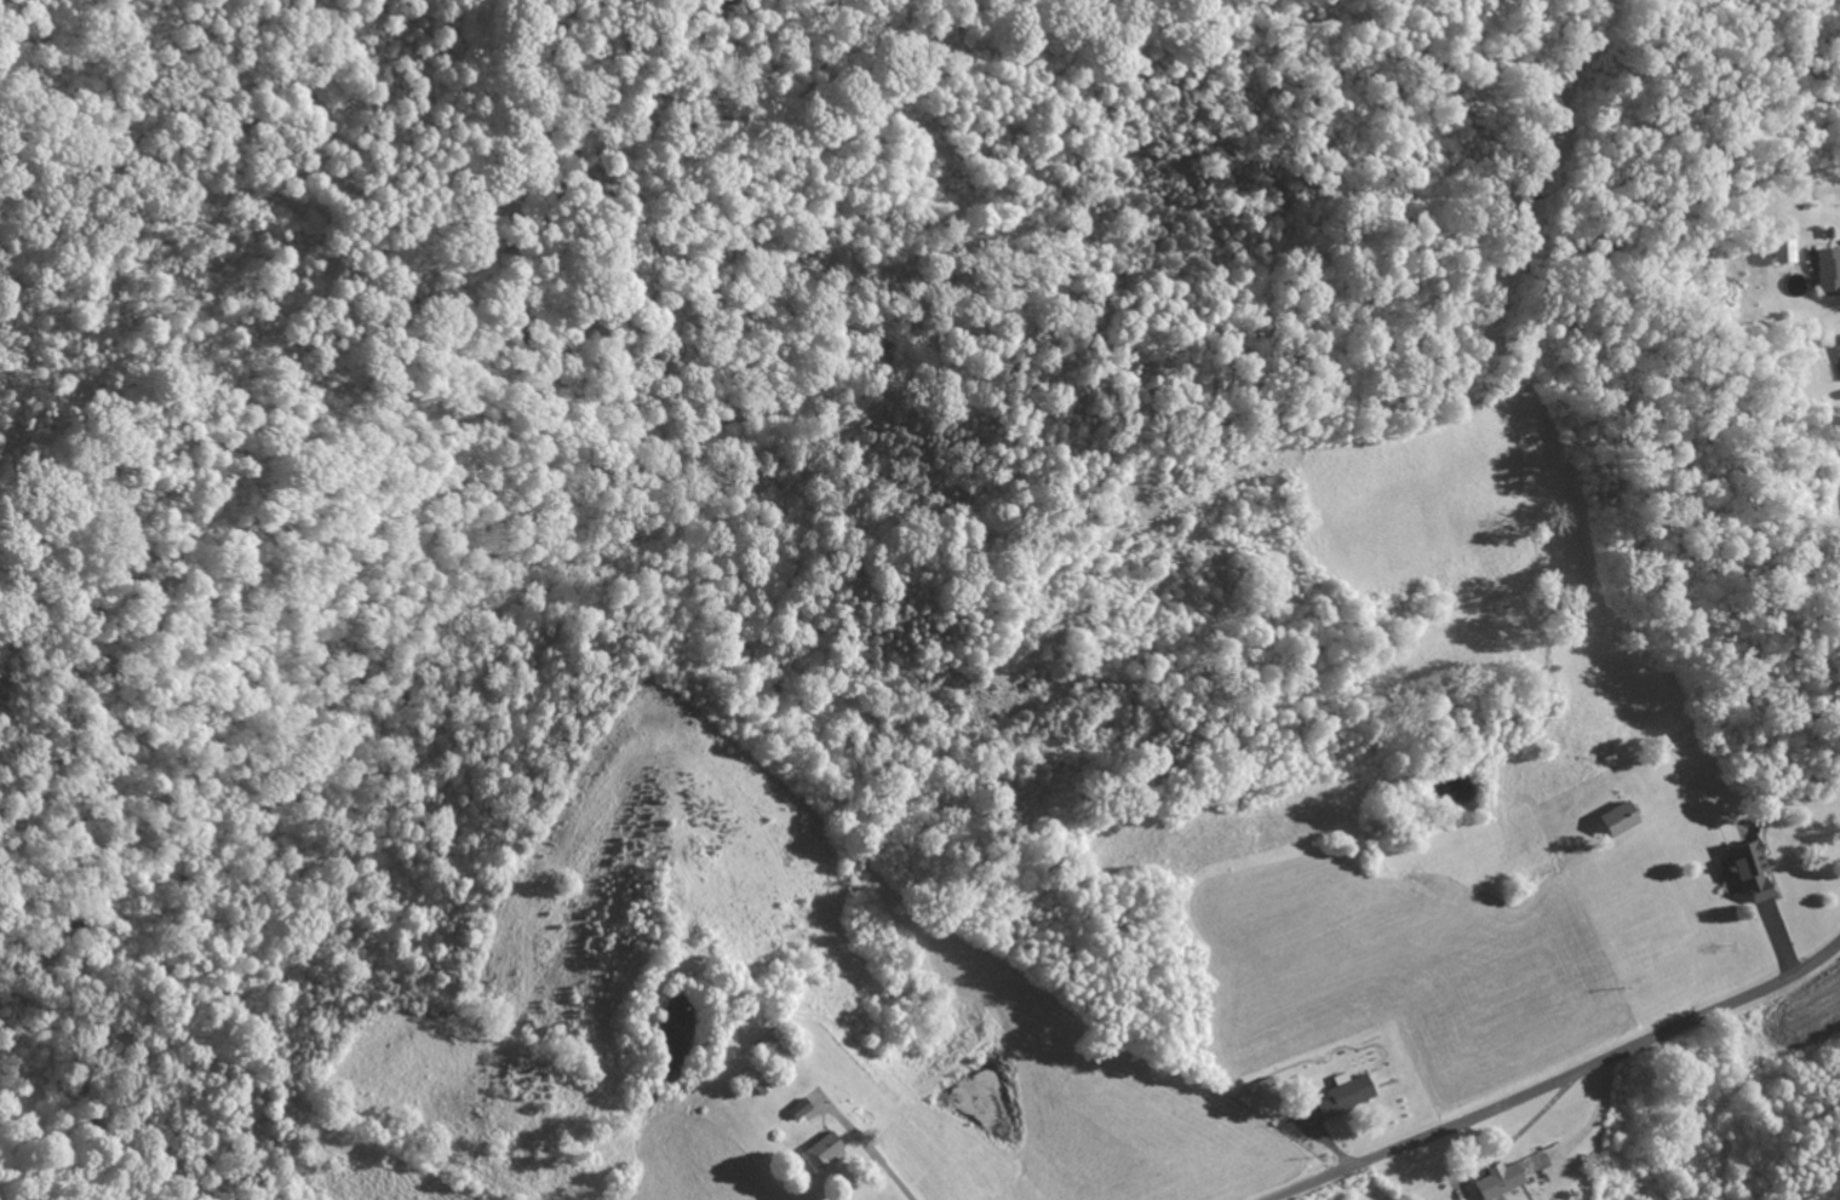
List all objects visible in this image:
road: (1032, 99)
building: (1783, 249)
building: (1828, 269)
building: (1838, 343)
building: (1617, 817)
building: (1749, 869)
road: (1564, 1079)
building: (757, 1086)
building: (1343, 1096)
building: (797, 1108)
building: (821, 1149)
building: (1496, 1179)

